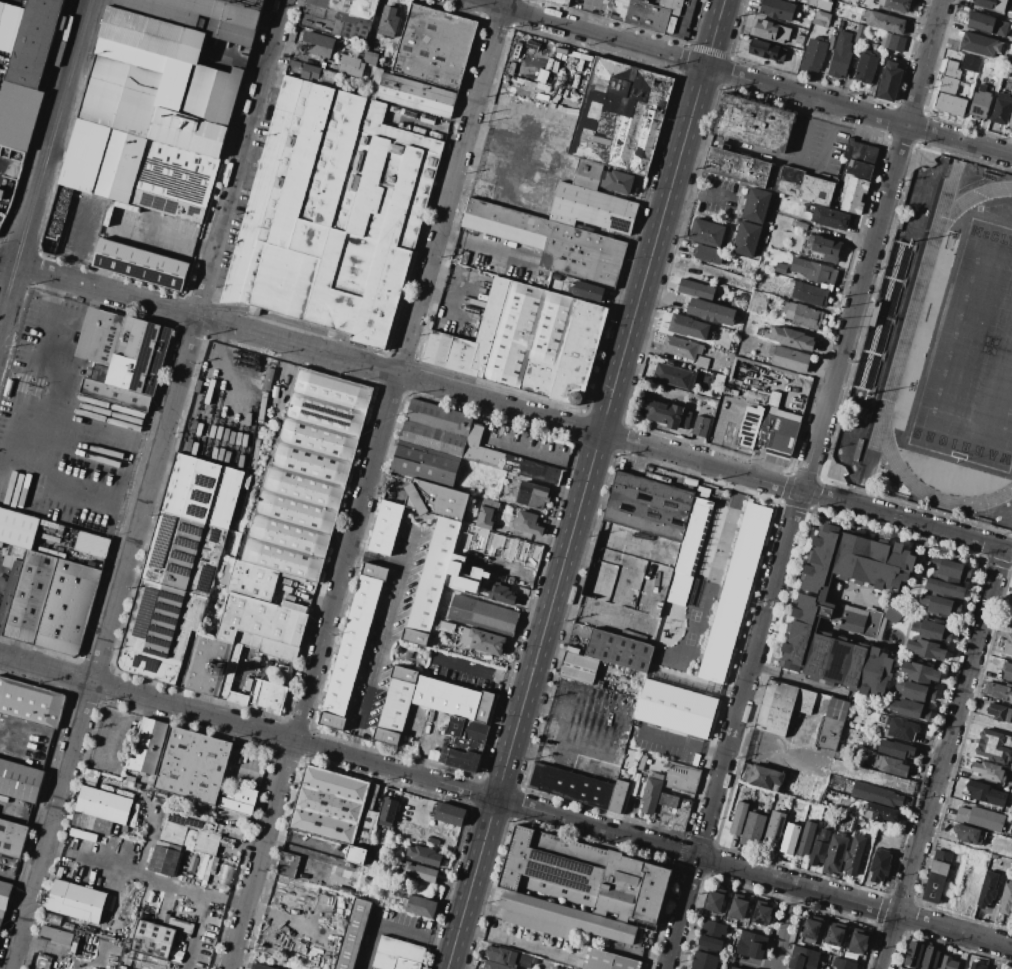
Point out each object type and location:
building: (790, 0)
building: (559, 2)
building: (249, 3)
road: (502, 3)
building: (819, 4)
building: (991, 4)
building: (897, 5)
building: (777, 9)
road: (586, 14)
building: (652, 14)
building: (201, 16)
building: (340, 17)
building: (821, 19)
building: (389, 21)
building: (884, 22)
building: (986, 24)
building: (9, 25)
building: (770, 31)
building: (152, 34)
building: (859, 34)
building: (799, 39)
building: (33, 42)
building: (830, 42)
building: (885, 42)
building: (317, 44)
building: (895, 44)
building: (980, 45)
building: (435, 46)
building: (766, 50)
building: (814, 55)
building: (840, 55)
building: (370, 58)
building: (970, 63)
building: (351, 65)
building: (865, 68)
building: (310, 71)
building: (327, 76)
building: (950, 78)
road: (745, 79)
building: (889, 82)
building: (375, 83)
building: (132, 87)
building: (211, 94)
building: (416, 95)
building: (980, 103)
building: (949, 104)
building: (1001, 109)
building: (22, 112)
building: (621, 115)
building: (1010, 122)
building: (754, 123)
road: (806, 130)
building: (188, 132)
road: (827, 137)
building: (860, 152)
road: (776, 157)
railway: (46, 159)
road: (46, 159)
building: (119, 165)
building: (741, 169)
building: (859, 169)
building: (588, 174)
building: (174, 181)
building: (790, 181)
building: (616, 182)
building: (816, 191)
road: (702, 195)
building: (854, 195)
building: (756, 206)
building: (592, 209)
building: (332, 213)
building: (831, 218)
building: (801, 225)
building: (707, 233)
road: (162, 236)
road: (79, 237)
building: (746, 238)
road: (446, 239)
building: (550, 241)
building: (825, 248)
road: (495, 254)
building: (708, 254)
building: (140, 264)
building: (780, 267)
building: (814, 271)
building: (792, 282)
building: (827, 286)
building: (696, 290)
building: (587, 291)
road: (457, 292)
building: (810, 294)
road: (438, 296)
building: (739, 301)
building: (757, 302)
building: (711, 312)
building: (802, 315)
track: (910, 321)
building: (688, 327)
railway: (8, 333)
building: (99, 336)
building: (790, 338)
building: (529, 339)
building: (468, 340)
building: (681, 348)
building: (578, 353)
building: (139, 356)
building: (252, 358)
building: (789, 359)
park: (973, 359)
building: (702, 362)
road: (26, 366)
road: (222, 367)
building: (100, 373)
building: (673, 375)
building: (8, 388)
building: (748, 389)
building: (115, 394)
building: (774, 398)
road: (505, 406)
road: (48, 408)
building: (727, 410)
building: (667, 414)
building: (784, 414)
building: (779, 424)
building: (701, 426)
building: (435, 427)
building: (750, 429)
building: (474, 434)
building: (775, 443)
building: (857, 449)
road: (538, 453)
road: (92, 458)
building: (426, 463)
building: (511, 464)
building: (307, 475)
road: (800, 483)
road: (148, 484)
road: (585, 484)
road: (365, 487)
building: (202, 490)
building: (532, 495)
building: (436, 500)
building: (650, 506)
building: (486, 514)
building: (527, 523)
building: (385, 528)
building: (17, 529)
building: (697, 537)
building: (91, 547)
road: (407, 547)
building: (18, 553)
building: (184, 554)
road: (375, 556)
road: (513, 558)
building: (466, 566)
building: (950, 570)
building: (682, 579)
building: (253, 581)
building: (432, 582)
building: (944, 589)
building: (733, 591)
building: (501, 594)
building: (26, 596)
building: (940, 605)
building: (814, 606)
building: (67, 607)
park: (1007, 610)
building: (483, 616)
building: (262, 626)
building: (159, 630)
building: (931, 630)
building: (477, 638)
building: (1008, 644)
building: (352, 646)
building: (572, 649)
building: (926, 649)
building: (619, 650)
road: (375, 660)
building: (877, 661)
building: (211, 666)
building: (578, 667)
road: (482, 670)
building: (1007, 672)
building: (920, 673)
building: (872, 682)
building: (914, 691)
building: (998, 691)
building: (268, 695)
building: (238, 698)
building: (453, 699)
building: (30, 702)
building: (396, 706)
building: (782, 706)
building: (675, 708)
building: (908, 709)
building: (1000, 713)
building: (832, 724)
road: (121, 727)
building: (902, 728)
building: (467, 729)
building: (762, 736)
road: (681, 741)
building: (149, 746)
building: (994, 746)
building: (896, 749)
road: (942, 758)
building: (459, 759)
building: (642, 763)
building: (192, 765)
building: (891, 766)
building: (987, 770)
road: (362, 776)
building: (763, 776)
building: (682, 778)
building: (20, 780)
building: (570, 786)
building: (983, 792)
building: (651, 793)
building: (241, 794)
building: (371, 796)
building: (617, 796)
building: (161, 797)
building: (883, 797)
road: (506, 800)
building: (329, 804)
building: (103, 805)
building: (235, 806)
building: (387, 811)
building: (417, 812)
building: (672, 812)
building: (882, 813)
building: (449, 814)
building: (739, 818)
building: (980, 818)
building: (90, 822)
building: (365, 829)
building: (753, 829)
building: (774, 829)
building: (966, 834)
building: (173, 835)
road: (571, 836)
building: (12, 838)
building: (807, 838)
building: (81, 841)
road: (305, 842)
building: (819, 848)
building: (835, 854)
building: (357, 855)
building: (424, 855)
building: (943, 856)
building: (993, 857)
building: (369, 859)
building: (852, 859)
building: (6, 861)
building: (879, 866)
building: (305, 868)
building: (420, 873)
road: (137, 874)
building: (224, 874)
building: (585, 876)
building: (935, 881)
building: (987, 890)
building: (4, 894)
road: (765, 894)
building: (1006, 899)
building: (76, 901)
building: (714, 901)
building: (420, 906)
building: (738, 909)
road: (203, 913)
building: (762, 914)
building: (1, 916)
building: (560, 918)
road: (392, 926)
road: (784, 927)
building: (811, 930)
building: (353, 934)
building: (712, 935)
building: (835, 935)
building: (55, 936)
road: (518, 941)
building: (153, 942)
building: (857, 942)
road: (941, 943)
building: (751, 945)
building: (397, 954)
building: (914, 954)
building: (502, 955)
building: (930, 957)
building: (803, 958)
building: (525, 960)
building: (606, 961)
building: (704, 961)
building: (42, 962)
building: (946, 962)
building: (843, 964)
building: (978, 964)
building: (495, 965)
road: (752, 965)
building: (260, 966)
building: (555, 967)
building: (733, 968)

